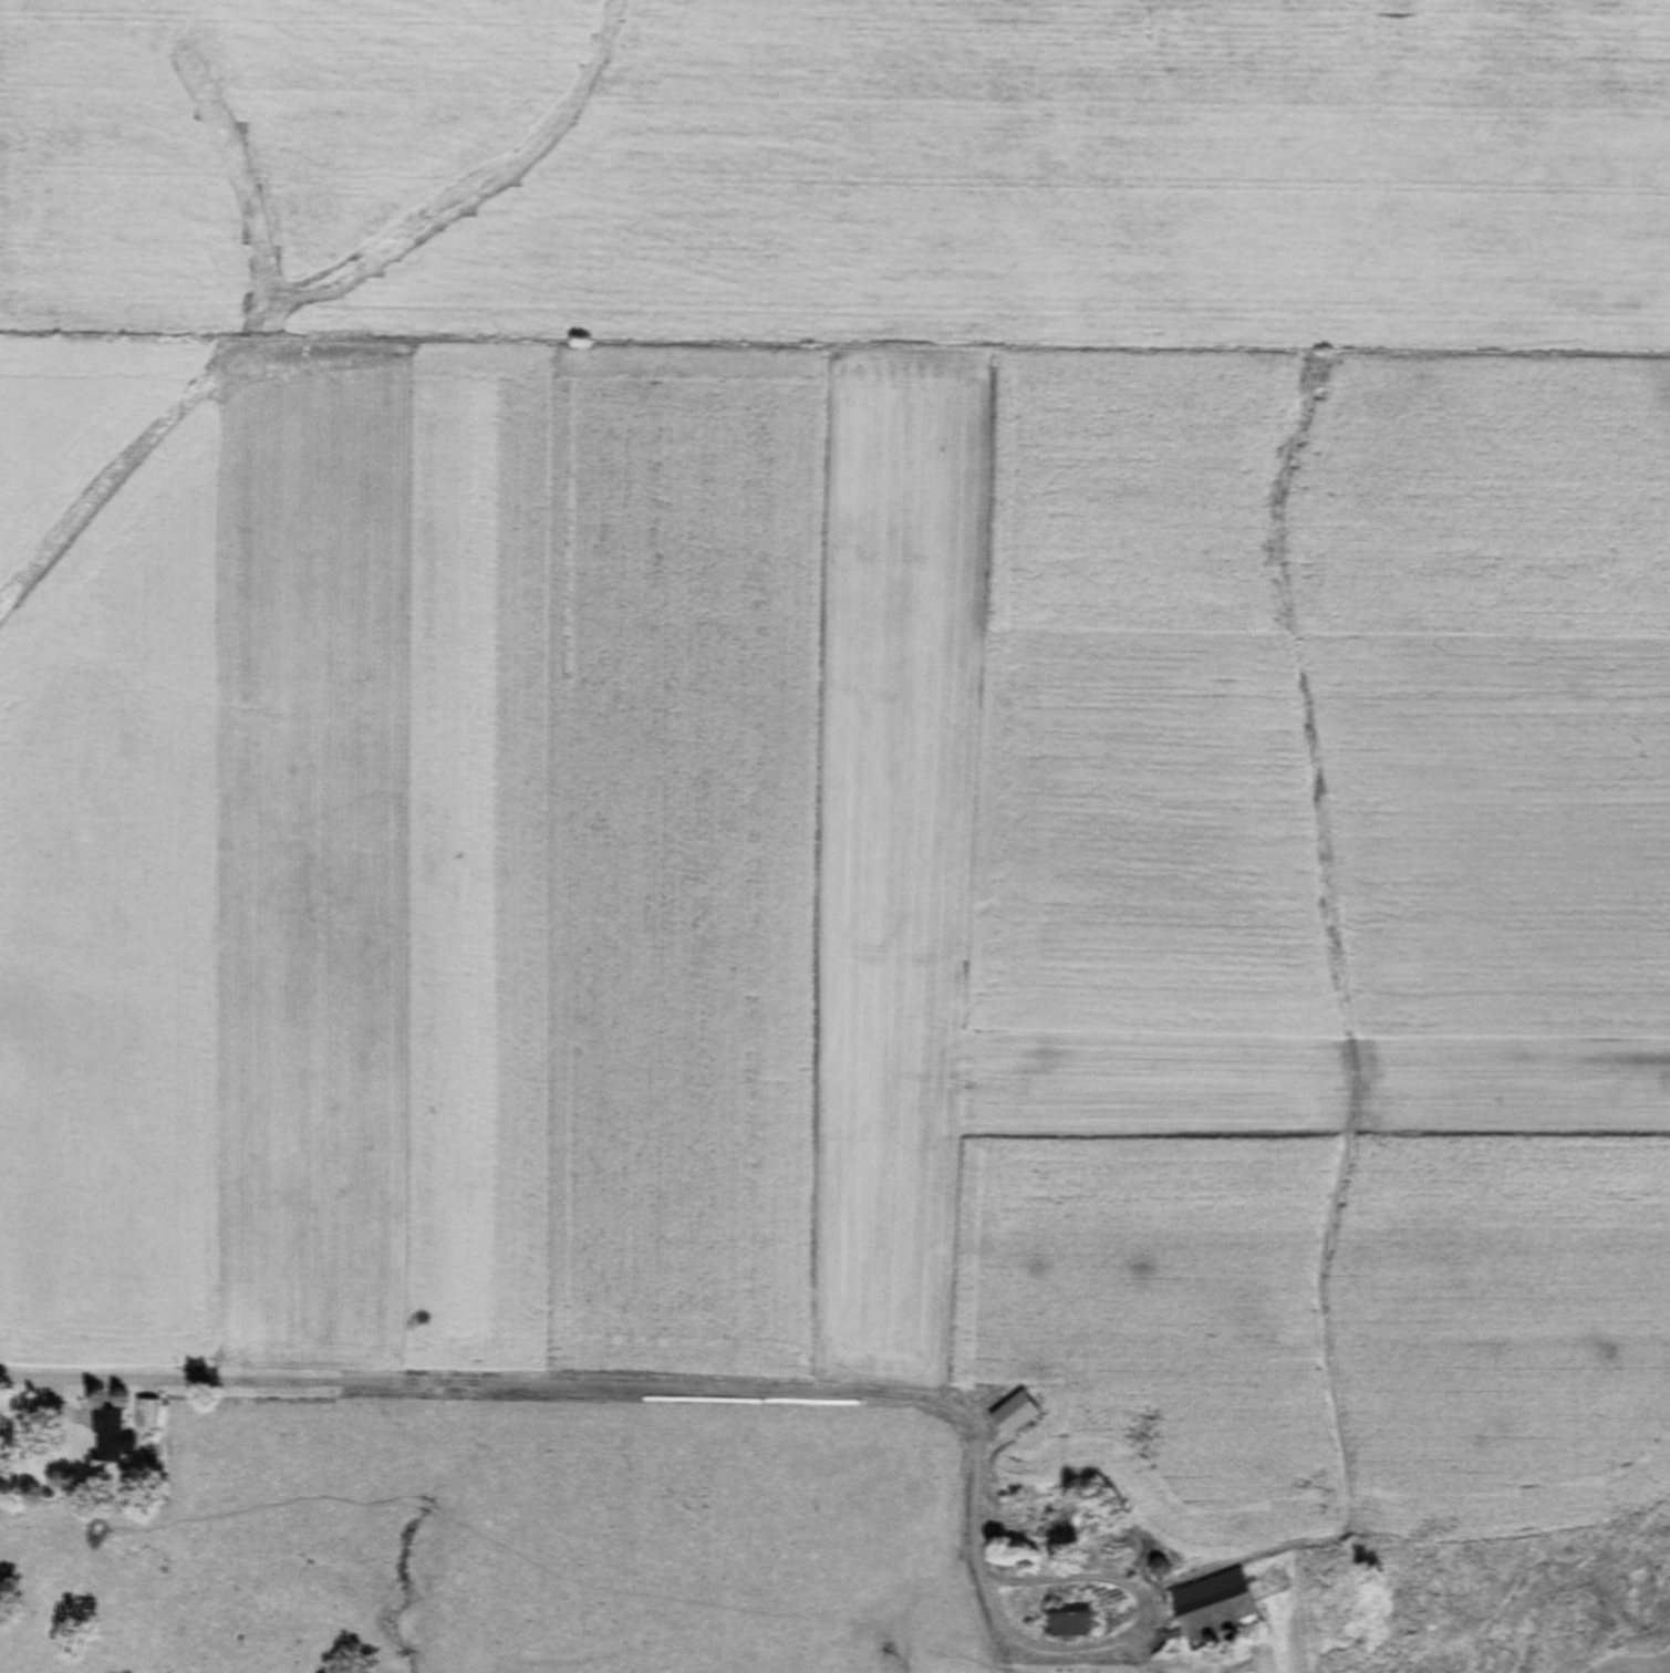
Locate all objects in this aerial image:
road: (530, 1405)
building: (146, 1415)
building: (1012, 1415)
building: (106, 1436)
building: (1056, 1515)
building: (1156, 1568)
building: (1210, 1612)
building: (1066, 1621)

